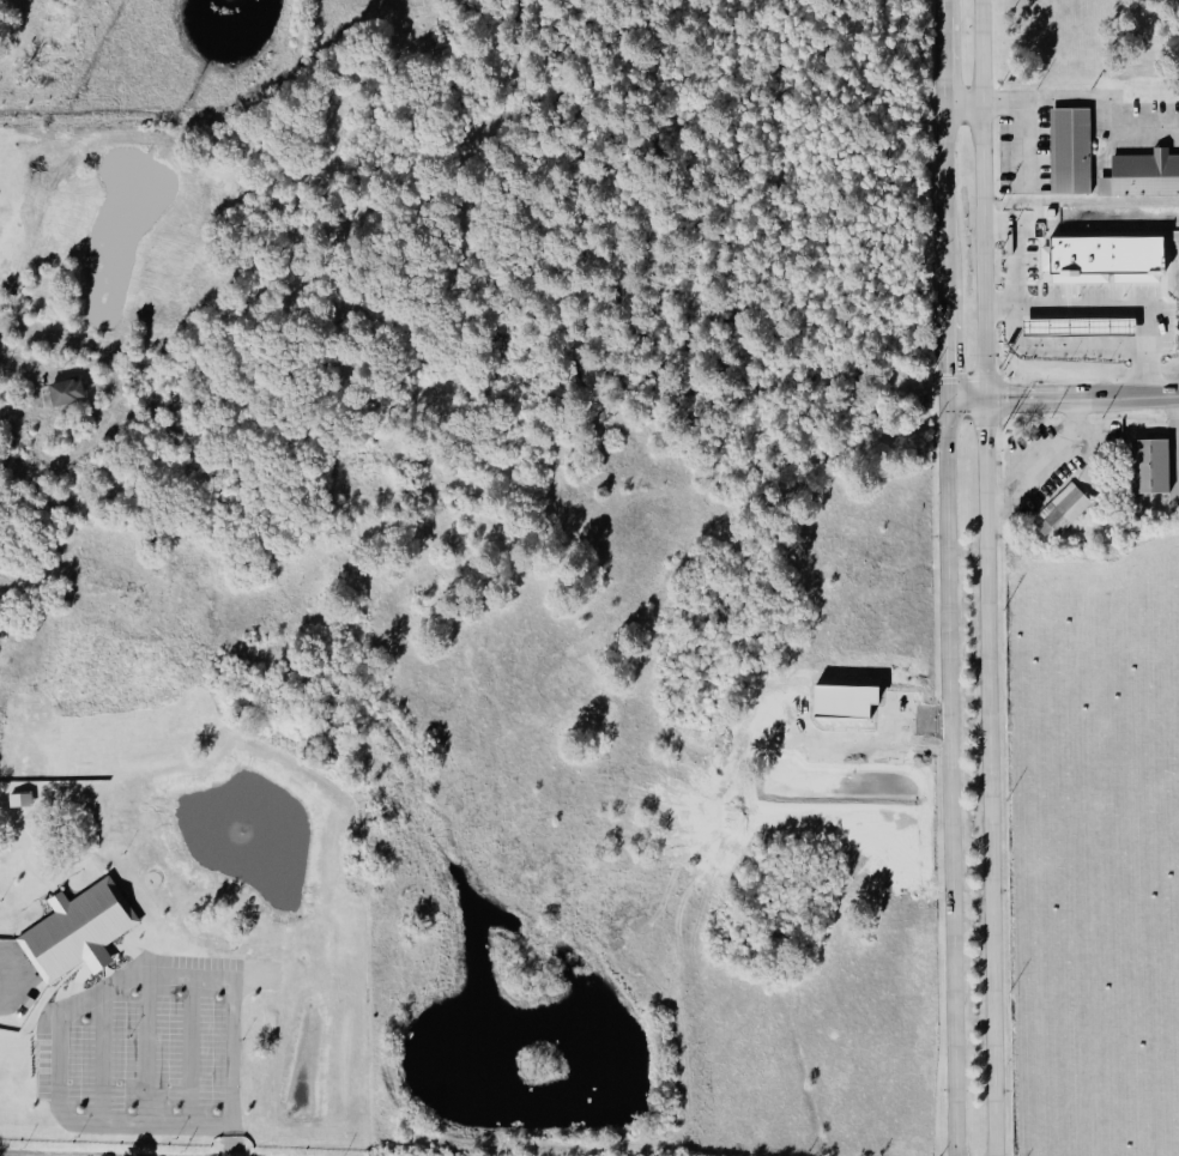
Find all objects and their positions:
road: (1086, 98)
road: (963, 103)
road: (1023, 140)
building: (1071, 150)
building: (1143, 174)
building: (1108, 259)
road: (1016, 265)
road: (1119, 309)
building: (1074, 335)
road: (1057, 350)
building: (66, 392)
road: (1062, 397)
traffic signals: (947, 398)
traffic signals: (986, 399)
road: (1178, 428)
road: (1047, 462)
building: (1151, 466)
building: (1064, 509)
road: (949, 577)
road: (987, 577)
building: (20, 800)
crop: (1092, 843)
building: (79, 931)
road: (75, 1010)
road: (222, 1146)

